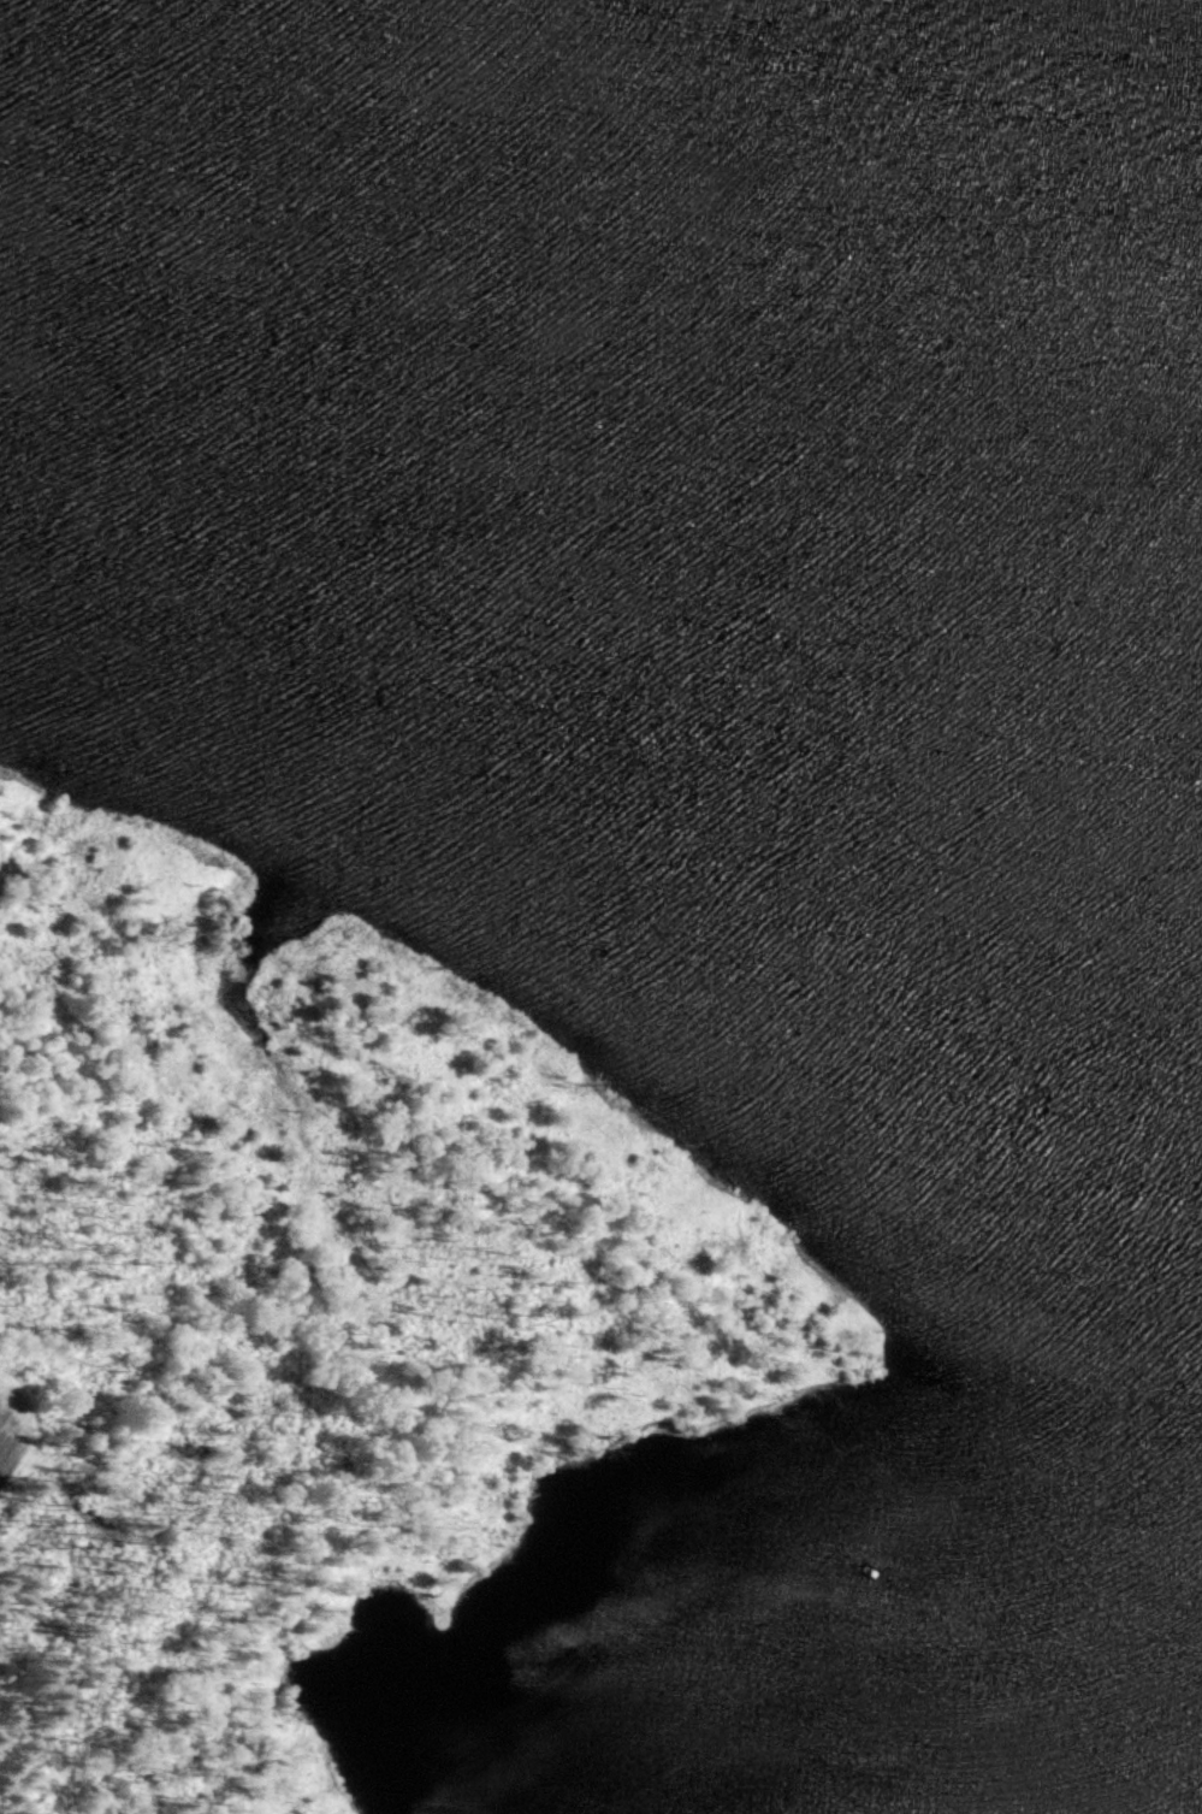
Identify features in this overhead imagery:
river: (585, 331)

